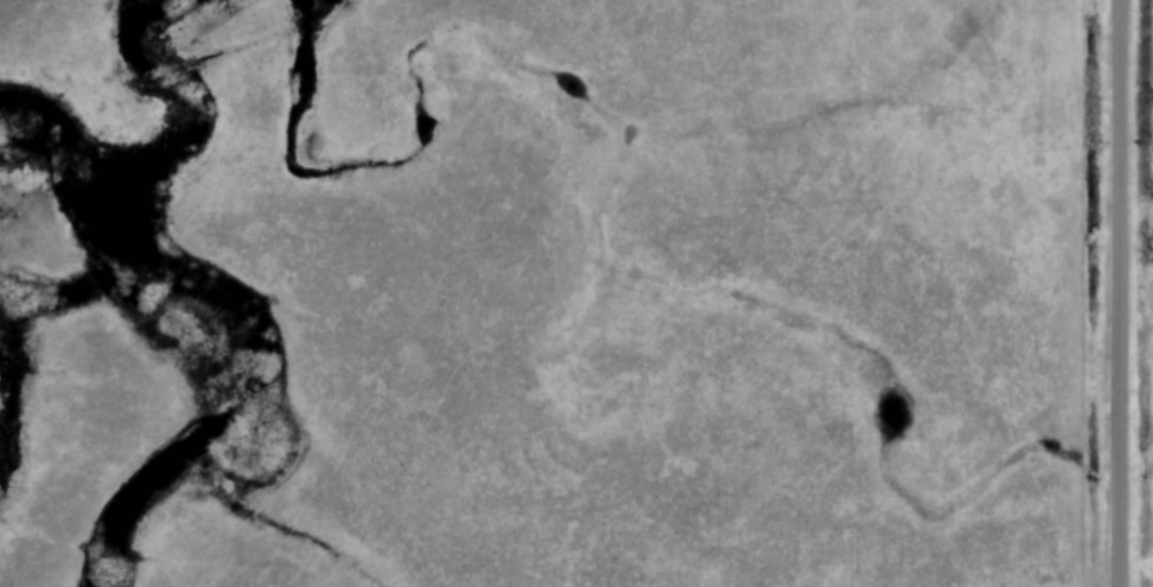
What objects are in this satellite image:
road: (1122, 293)

